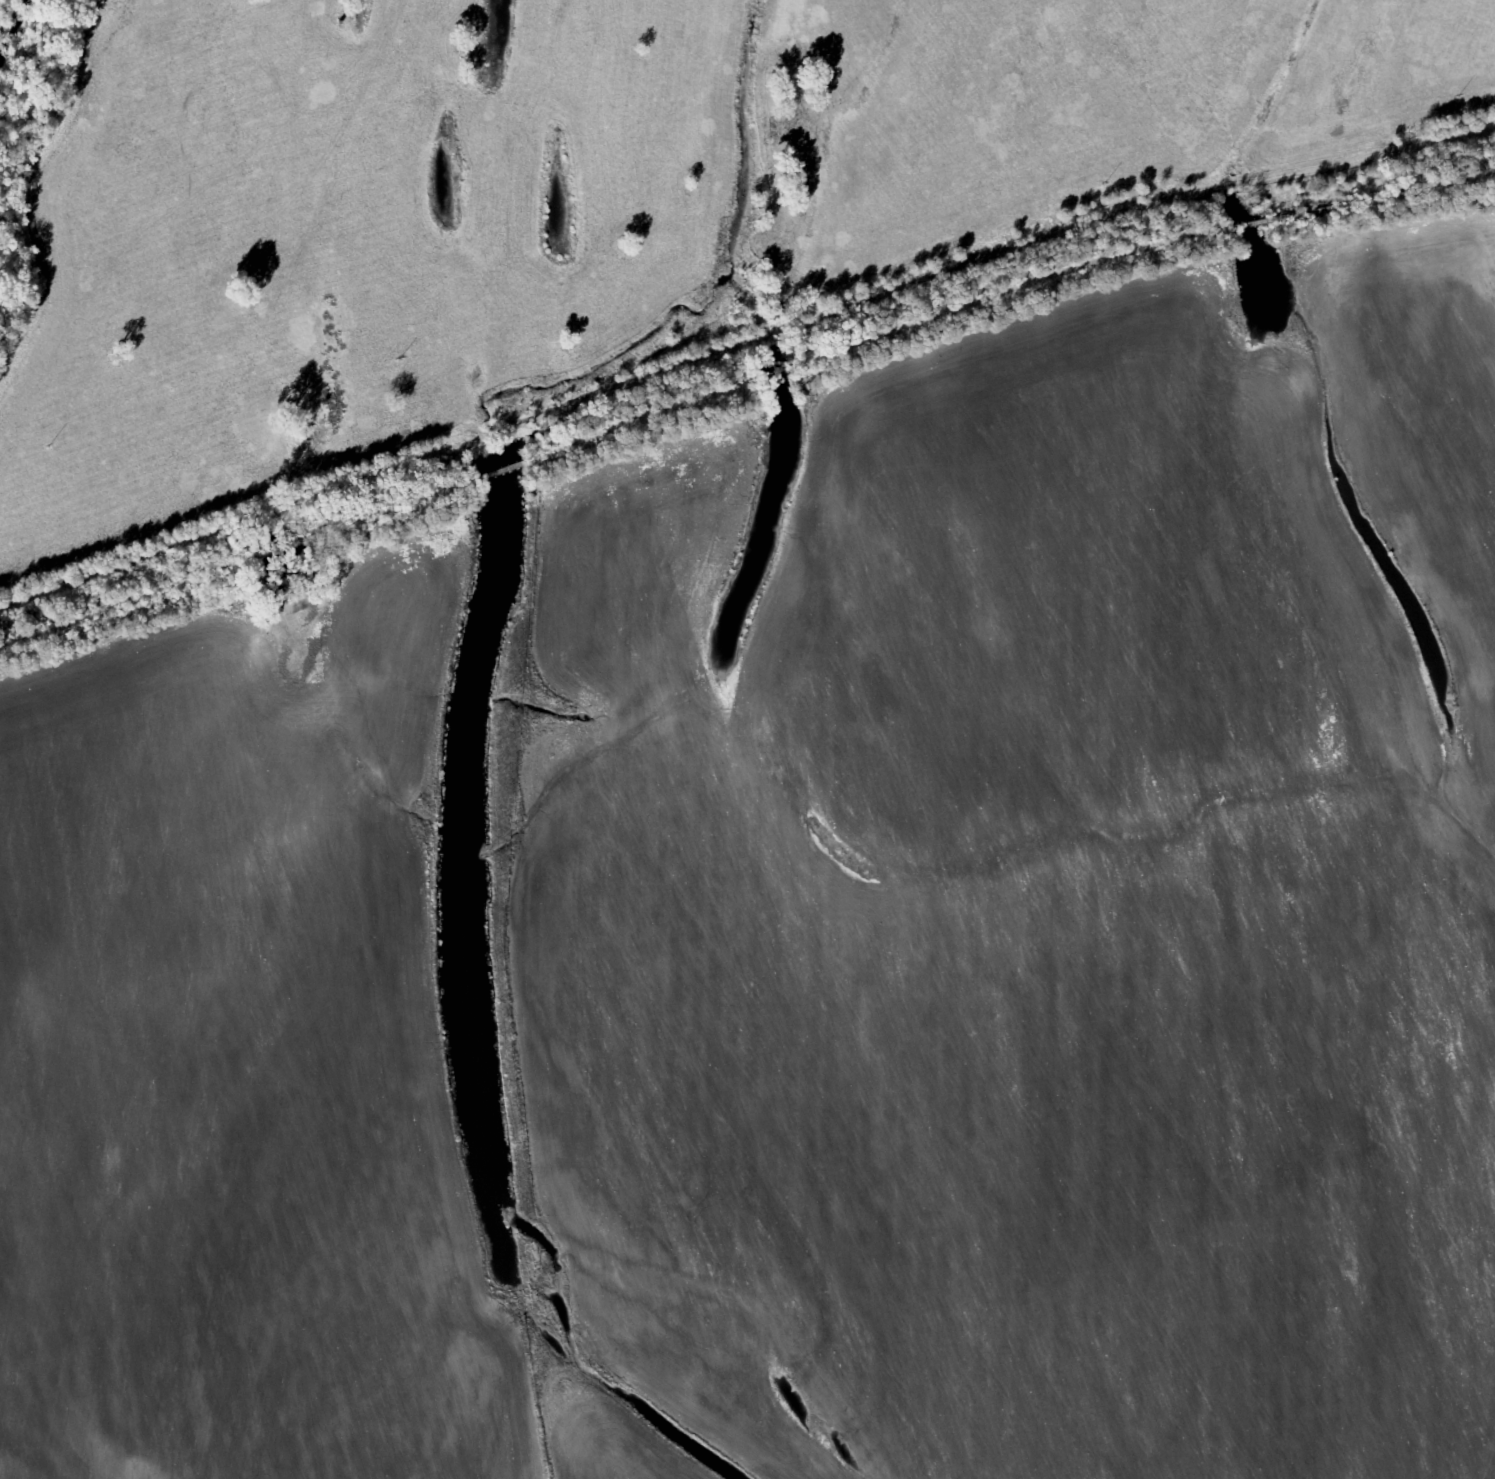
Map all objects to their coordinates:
railway: (740, 378)

